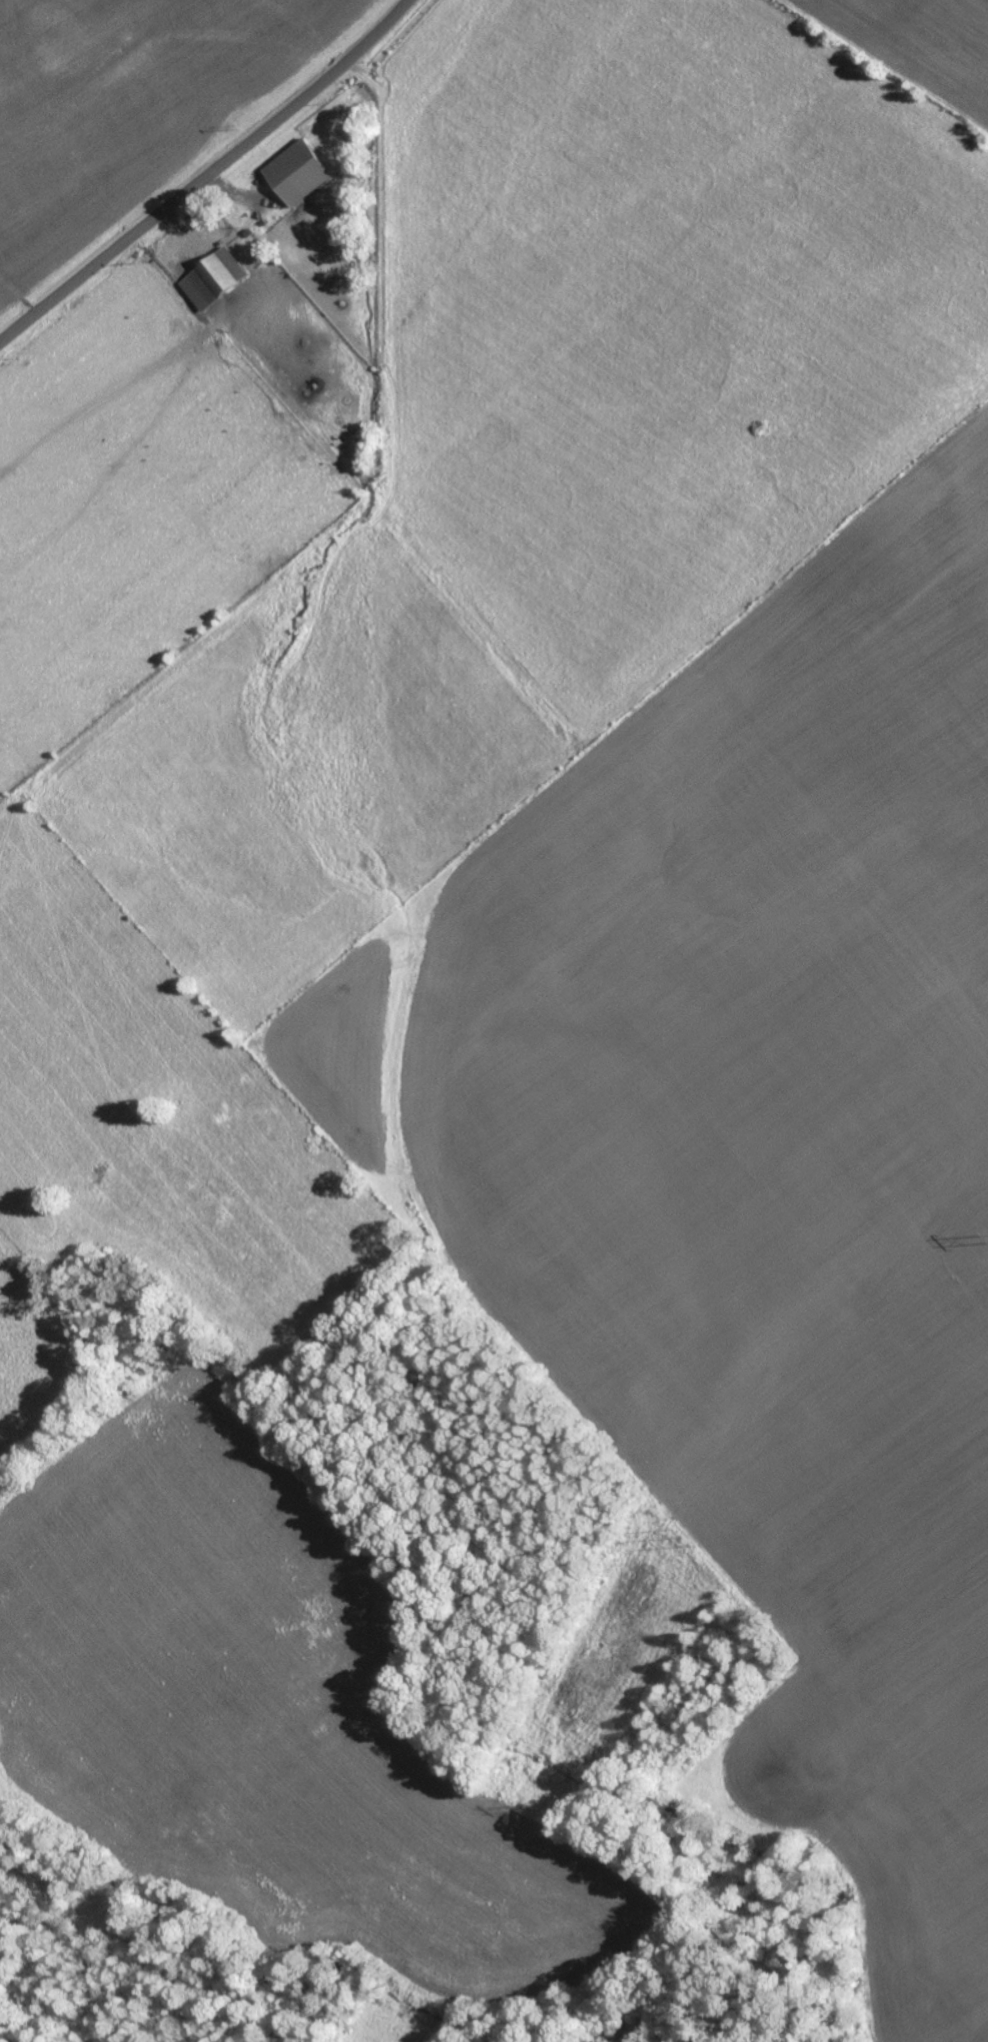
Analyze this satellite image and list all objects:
building: (294, 172)
road: (208, 175)
building: (210, 277)
power tower: (686, 1535)
power tower: (537, 1808)

